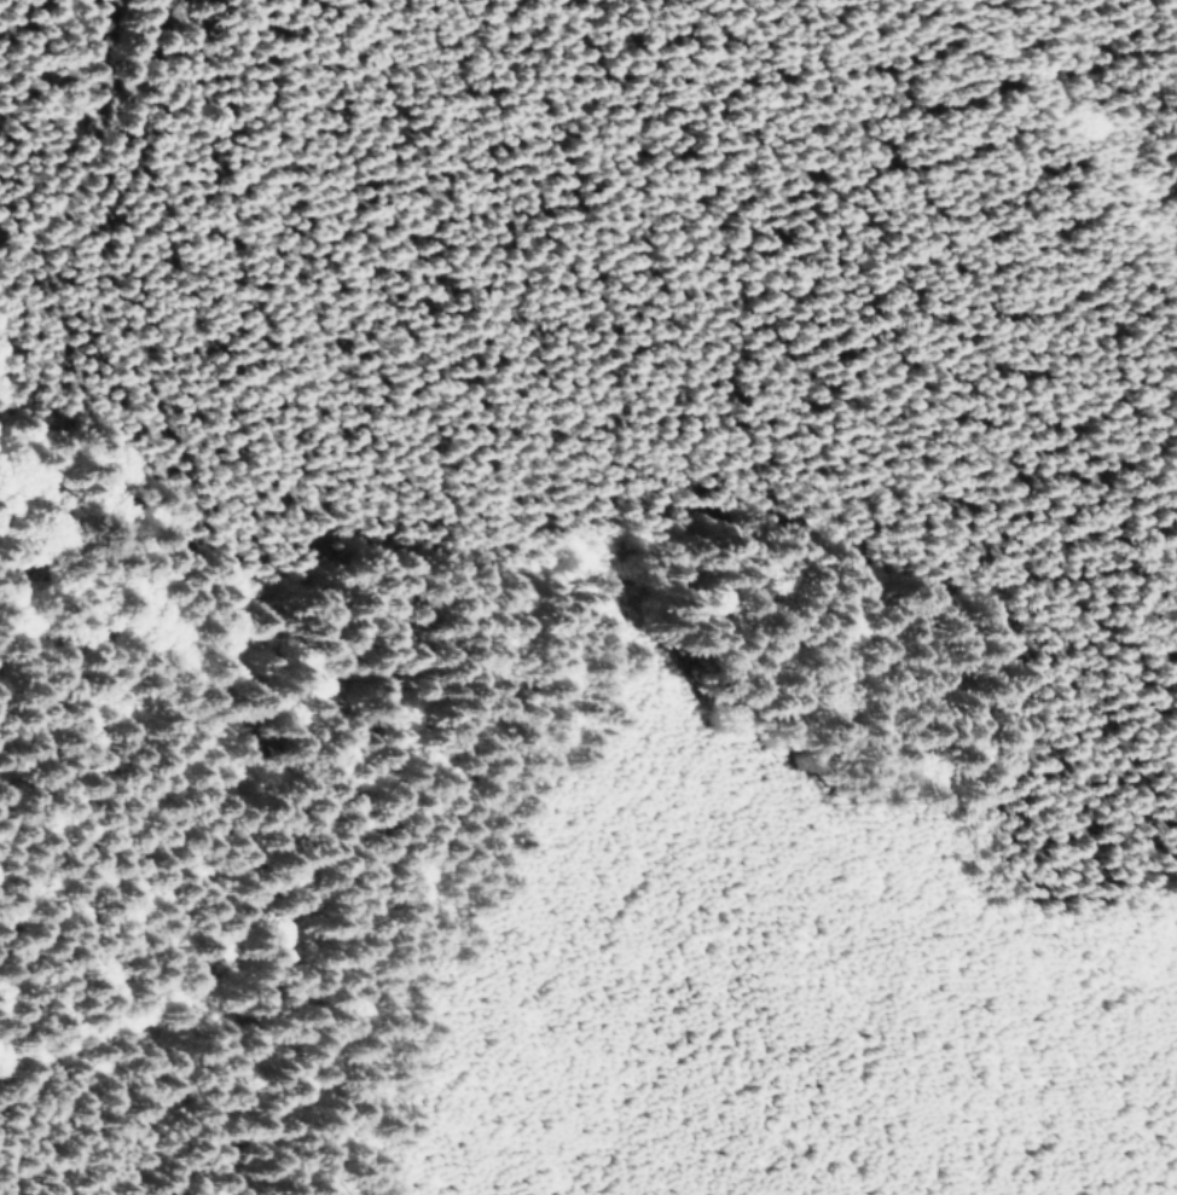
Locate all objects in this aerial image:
road: (91, 132)

